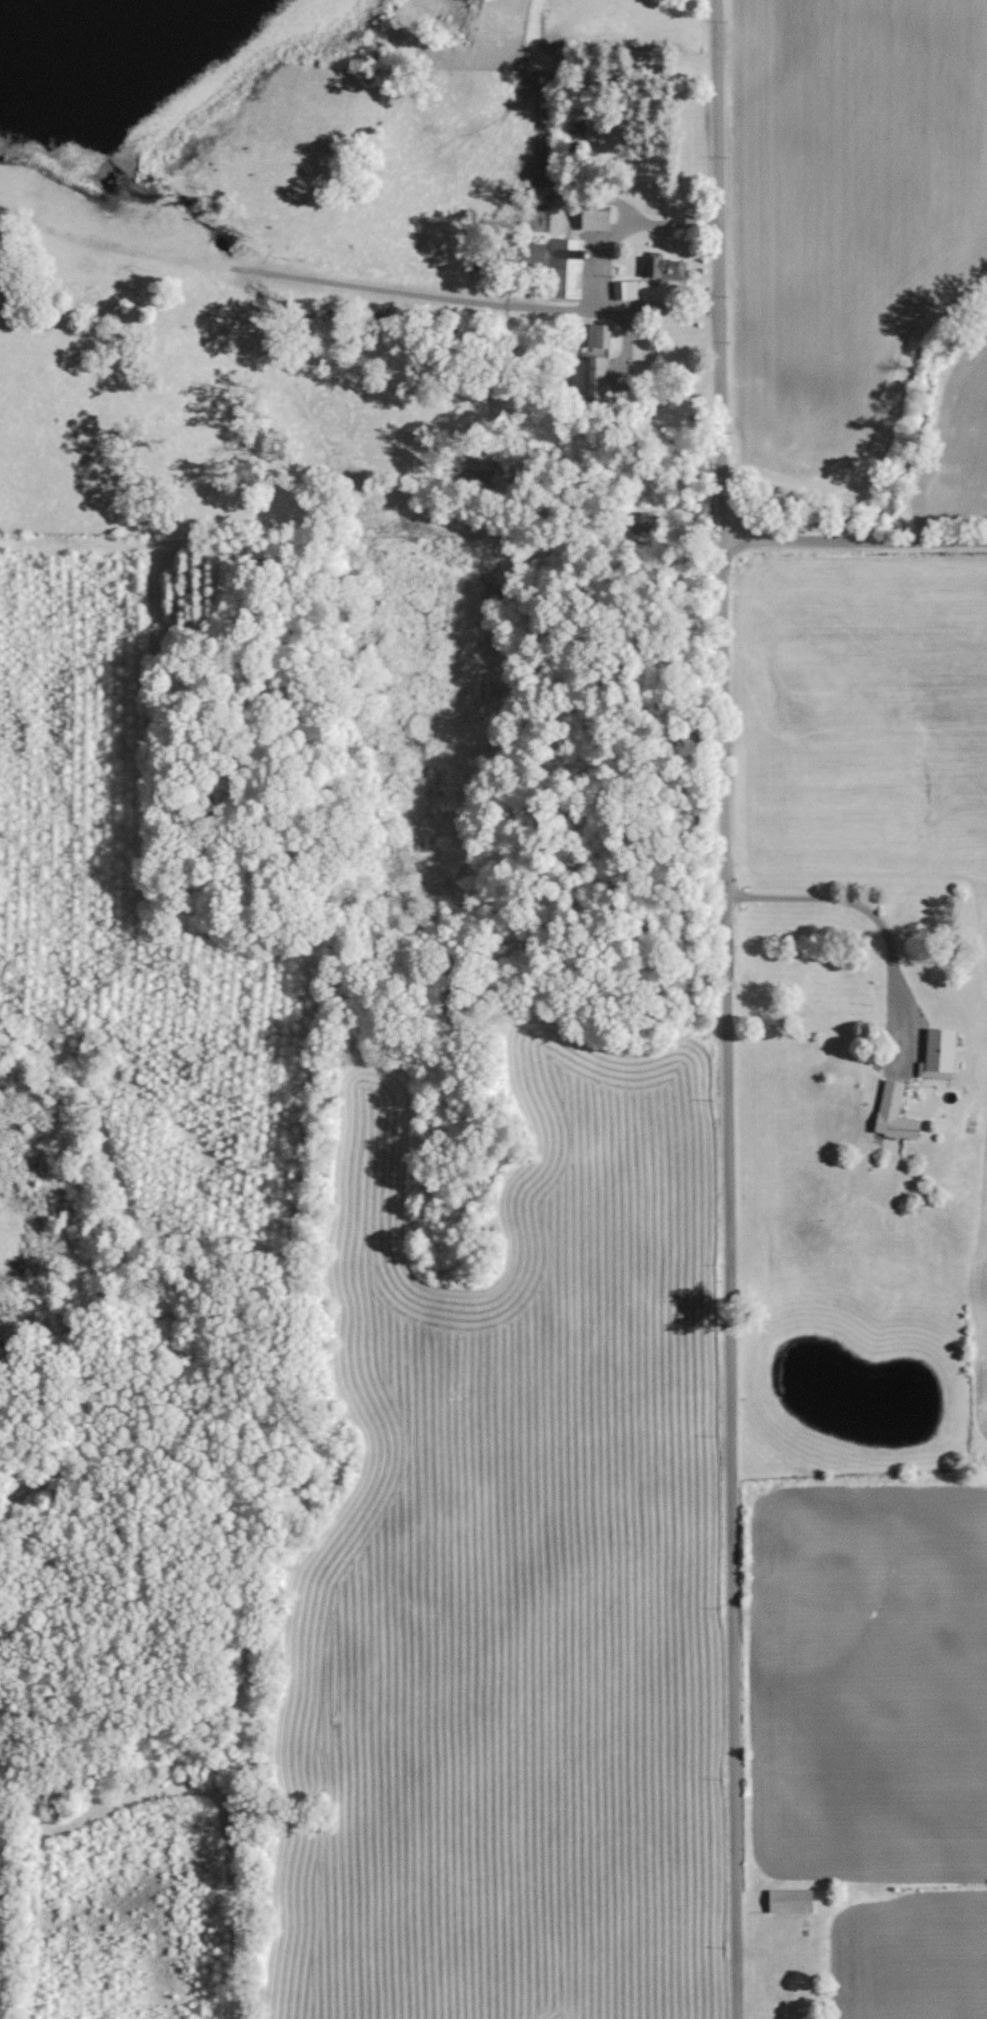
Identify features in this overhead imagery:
building: (594, 218)
building: (557, 266)
building: (666, 268)
road: (602, 277)
building: (627, 290)
building: (598, 336)
road: (854, 533)
road: (880, 923)
road: (728, 1009)
building: (892, 1113)
building: (788, 1901)
building: (777, 1990)

